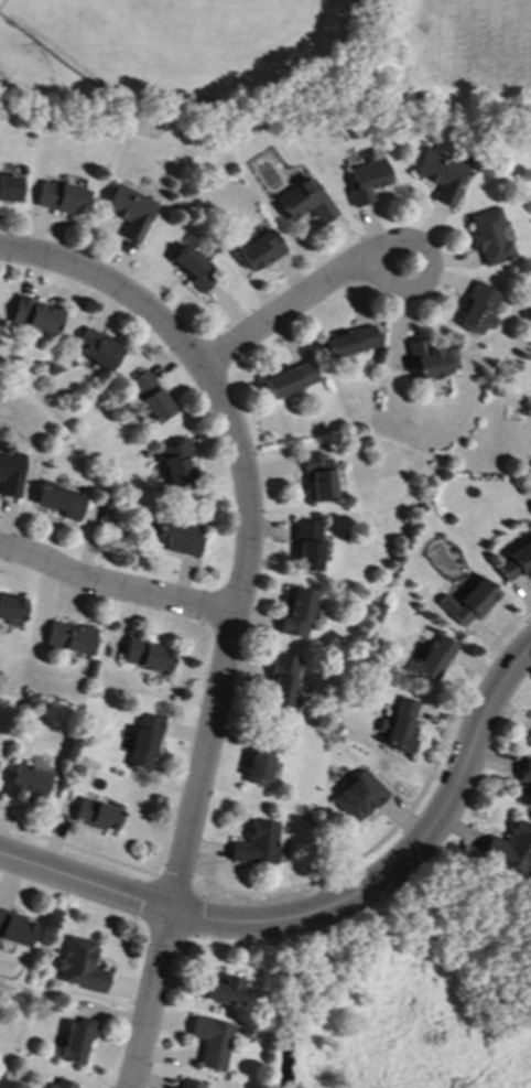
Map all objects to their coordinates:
park: (195, 57)
building: (441, 175)
building: (367, 177)
building: (10, 188)
building: (61, 198)
building: (305, 202)
building: (130, 212)
building: (490, 238)
building: (259, 249)
road: (424, 256)
building: (195, 269)
road: (288, 309)
building: (476, 309)
building: (34, 316)
building: (349, 343)
building: (98, 348)
building: (431, 360)
building: (290, 380)
building: (151, 398)
building: (176, 462)
building: (11, 472)
building: (321, 477)
building: (64, 502)
building: (180, 538)
building: (307, 543)
building: (516, 563)
road: (116, 588)
building: (470, 603)
road: (239, 607)
building: (12, 610)
building: (297, 613)
building: (73, 638)
building: (147, 656)
building: (435, 659)
building: (283, 682)
building: (400, 726)
building: (144, 743)
building: (258, 771)
building: (527, 782)
building: (28, 783)
building: (359, 797)
building: (97, 816)
building: (257, 845)
building: (511, 849)
road: (328, 875)
road: (327, 911)
building: (15, 928)
building: (80, 966)
park: (412, 991)
building: (224, 992)
building: (77, 1041)
building: (210, 1043)
building: (62, 1085)
building: (189, 1085)

